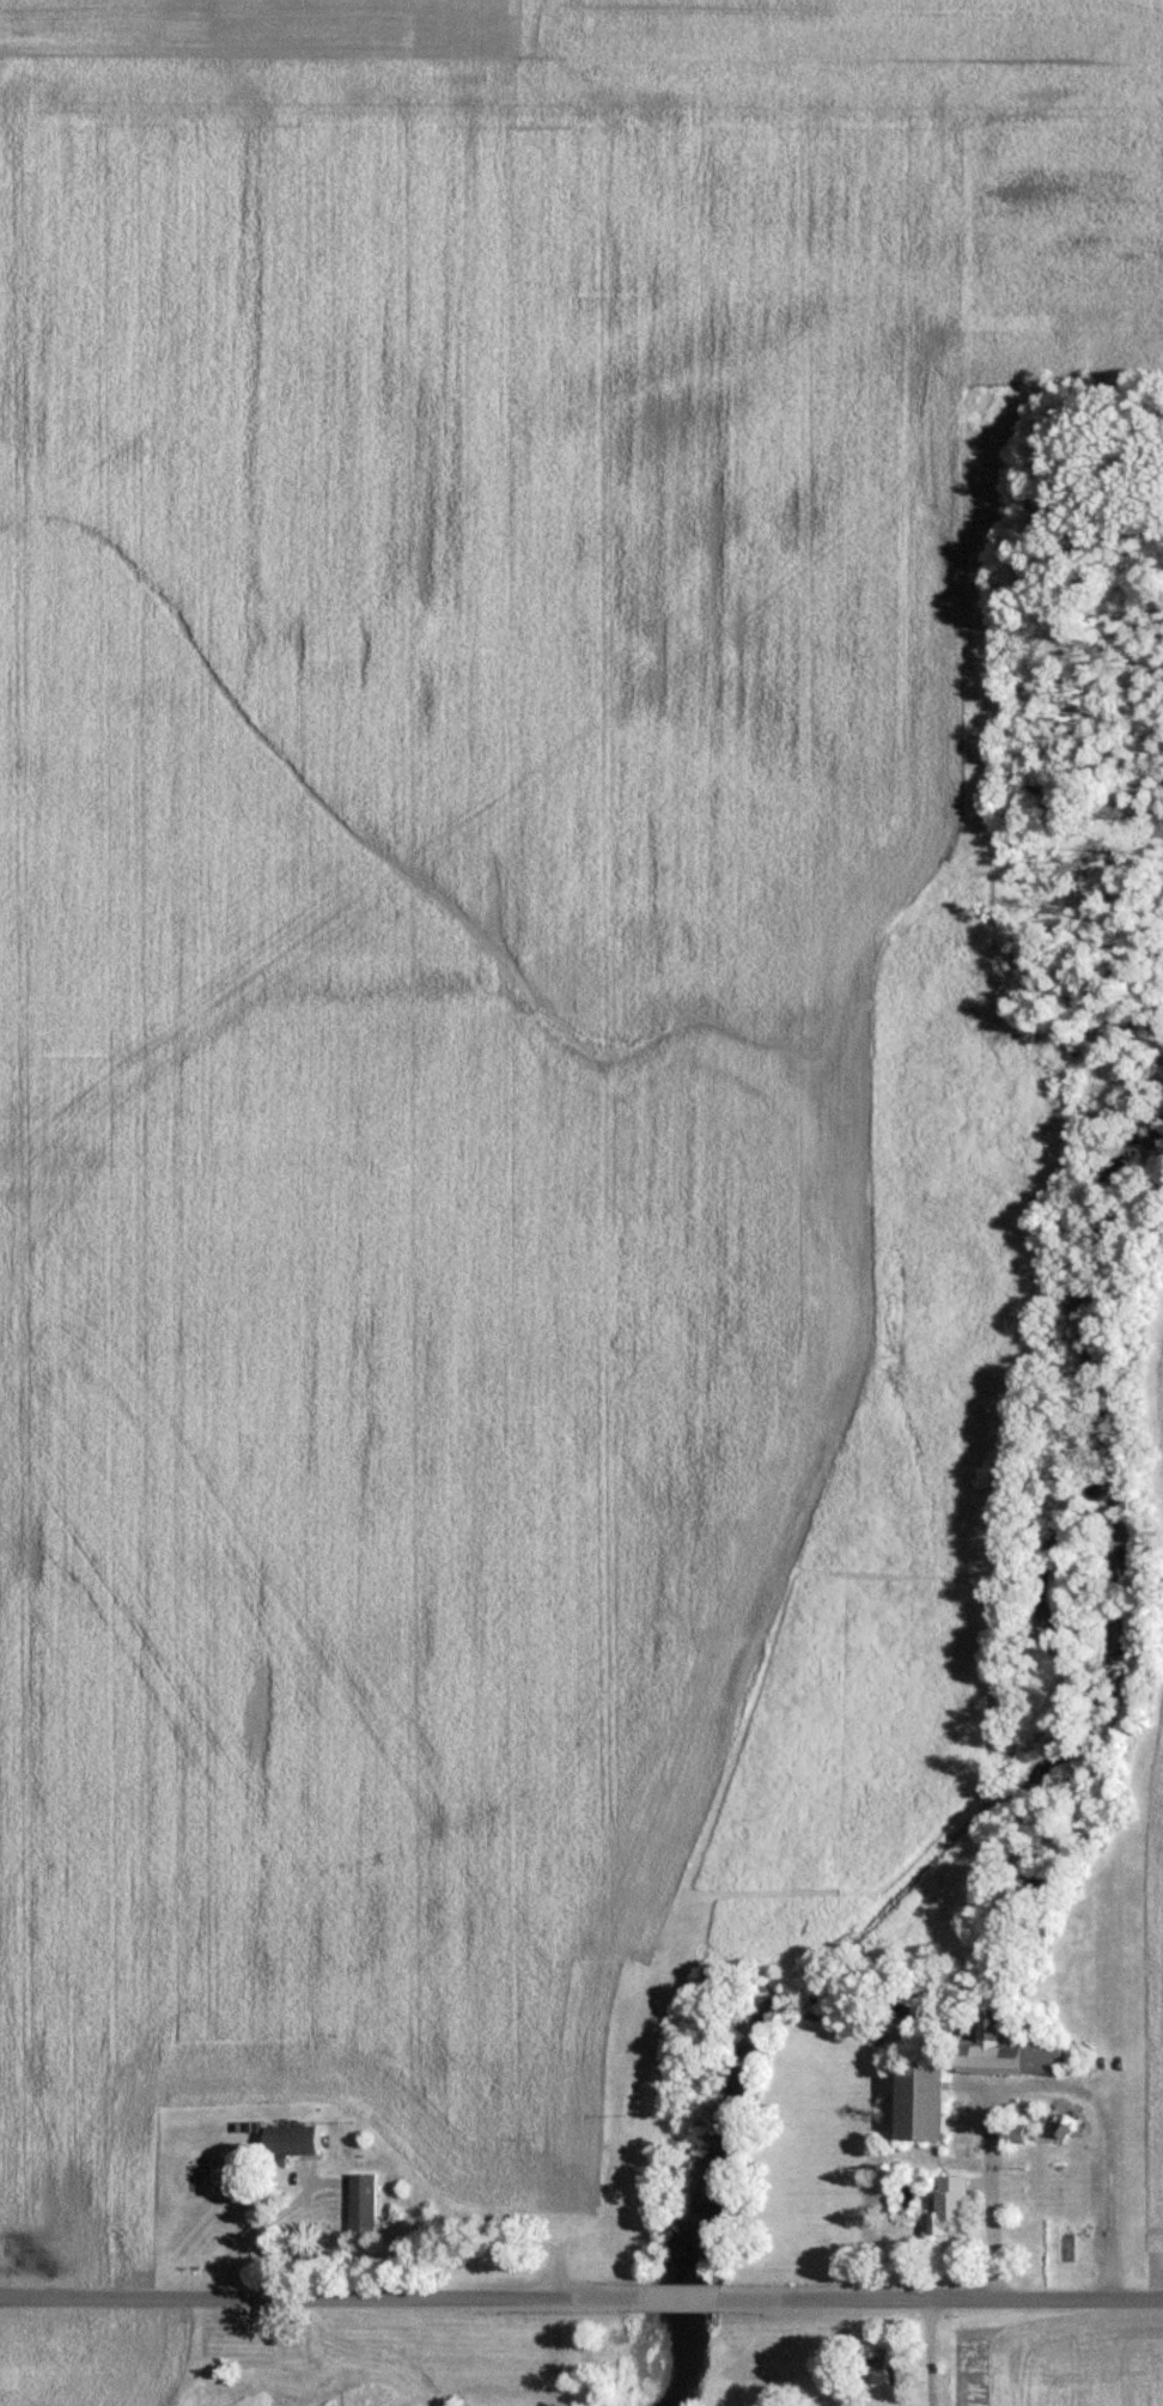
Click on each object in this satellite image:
river: (1024, 1813)
building: (1005, 2050)
road: (1046, 2084)
building: (918, 2104)
building: (1025, 2124)
building: (291, 2140)
building: (363, 2203)
building: (948, 2206)
road: (260, 2229)
road: (304, 2298)
road: (676, 2298)
road: (952, 2301)
building: (872, 2366)

